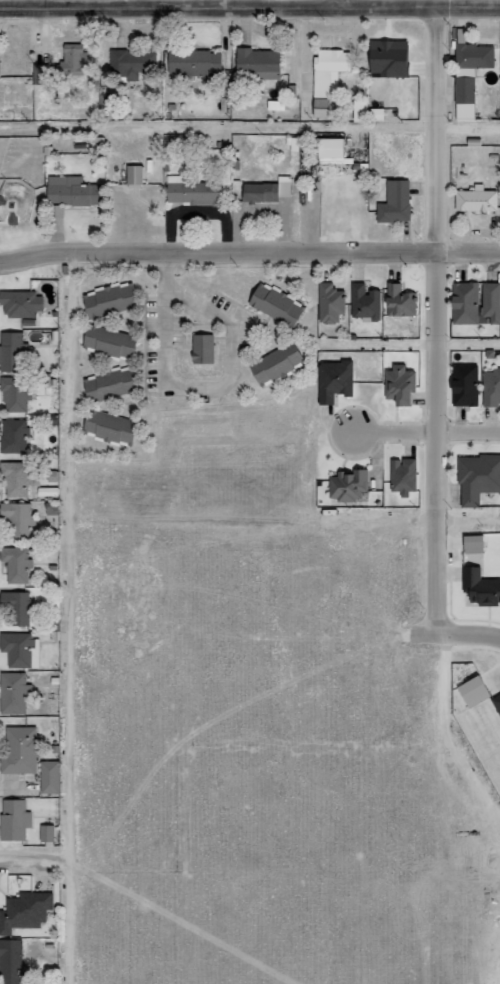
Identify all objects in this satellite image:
road: (129, 5)
road: (342, 5)
road: (250, 10)
building: (477, 56)
building: (391, 58)
building: (75, 59)
building: (133, 62)
building: (196, 62)
building: (262, 62)
building: (1, 68)
building: (330, 70)
building: (43, 73)
building: (468, 98)
building: (322, 107)
road: (214, 128)
road: (464, 128)
building: (137, 174)
building: (269, 190)
building: (75, 191)
building: (196, 191)
building: (479, 199)
building: (397, 202)
road: (249, 252)
building: (111, 297)
building: (402, 301)
building: (493, 301)
building: (24, 303)
building: (332, 303)
building: (367, 303)
building: (467, 303)
building: (275, 304)
road: (427, 322)
building: (112, 337)
road: (407, 338)
building: (202, 346)
building: (12, 351)
building: (277, 359)
building: (333, 377)
building: (399, 380)
building: (463, 381)
building: (111, 383)
road: (199, 383)
building: (491, 385)
building: (17, 393)
building: (108, 422)
road: (426, 432)
building: (15, 436)
building: (402, 472)
building: (477, 474)
building: (18, 479)
building: (349, 482)
road: (416, 516)
building: (19, 520)
building: (18, 563)
building: (481, 586)
building: (18, 606)
road: (66, 619)
road: (455, 636)
building: (21, 650)
building: (478, 692)
building: (16, 693)
building: (498, 701)
road: (454, 729)
building: (22, 749)
building: (52, 777)
building: (17, 820)
building: (49, 833)
road: (32, 857)
building: (27, 911)
building: (12, 962)

